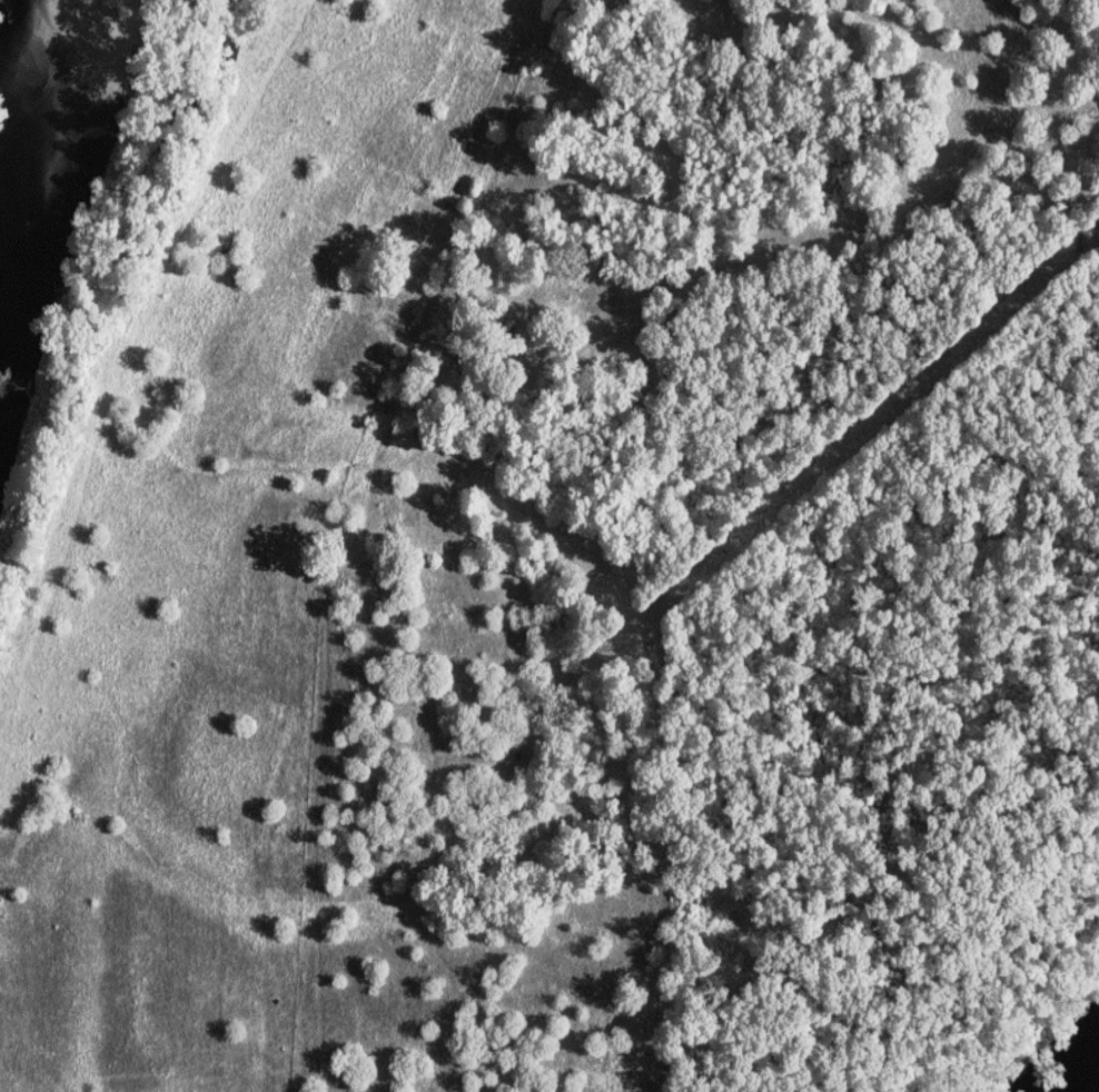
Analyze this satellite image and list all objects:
river: (67, 137)
road: (428, 251)
river: (1073, 1065)

